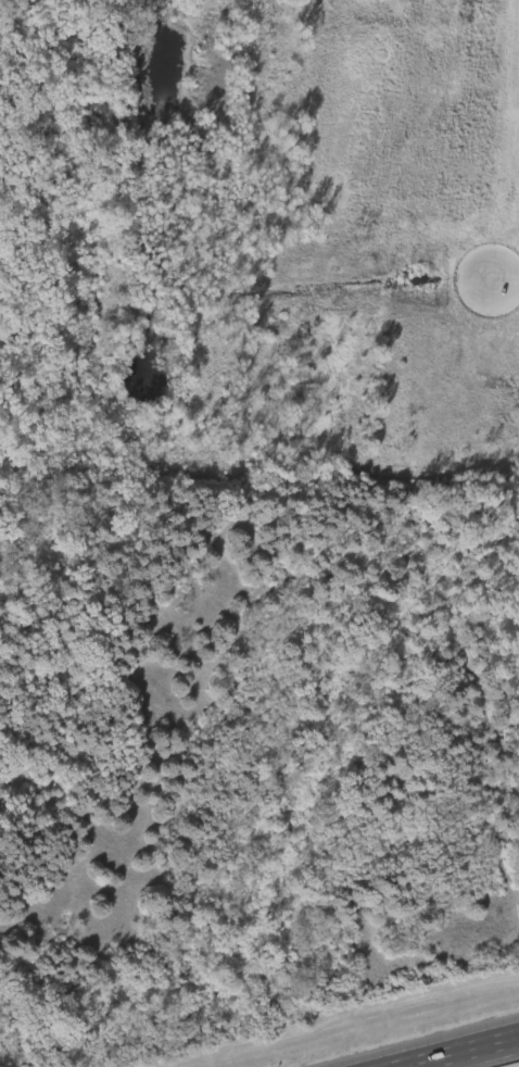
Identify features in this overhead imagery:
road: (505, 286)
road: (457, 1051)

